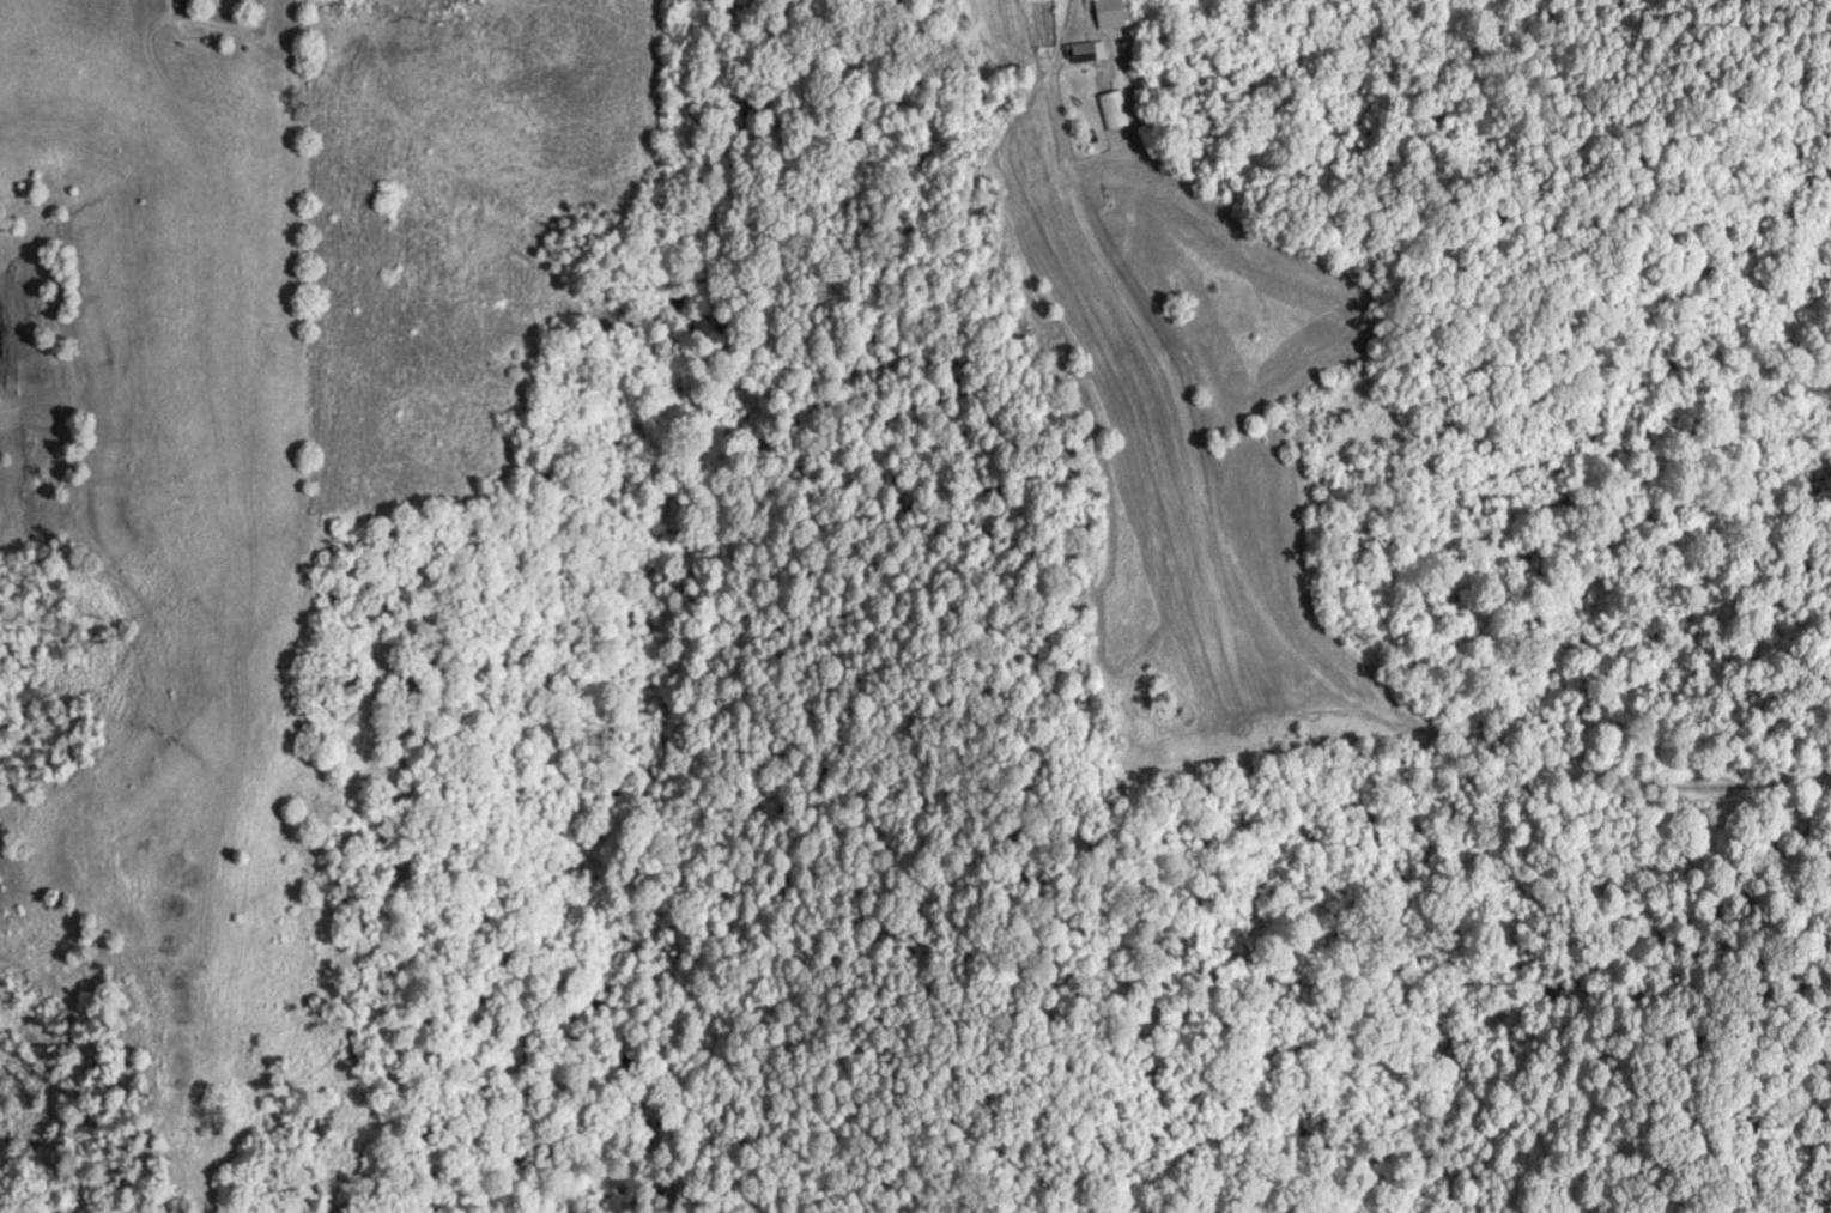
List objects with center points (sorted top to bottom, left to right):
building: (1079, 50)

